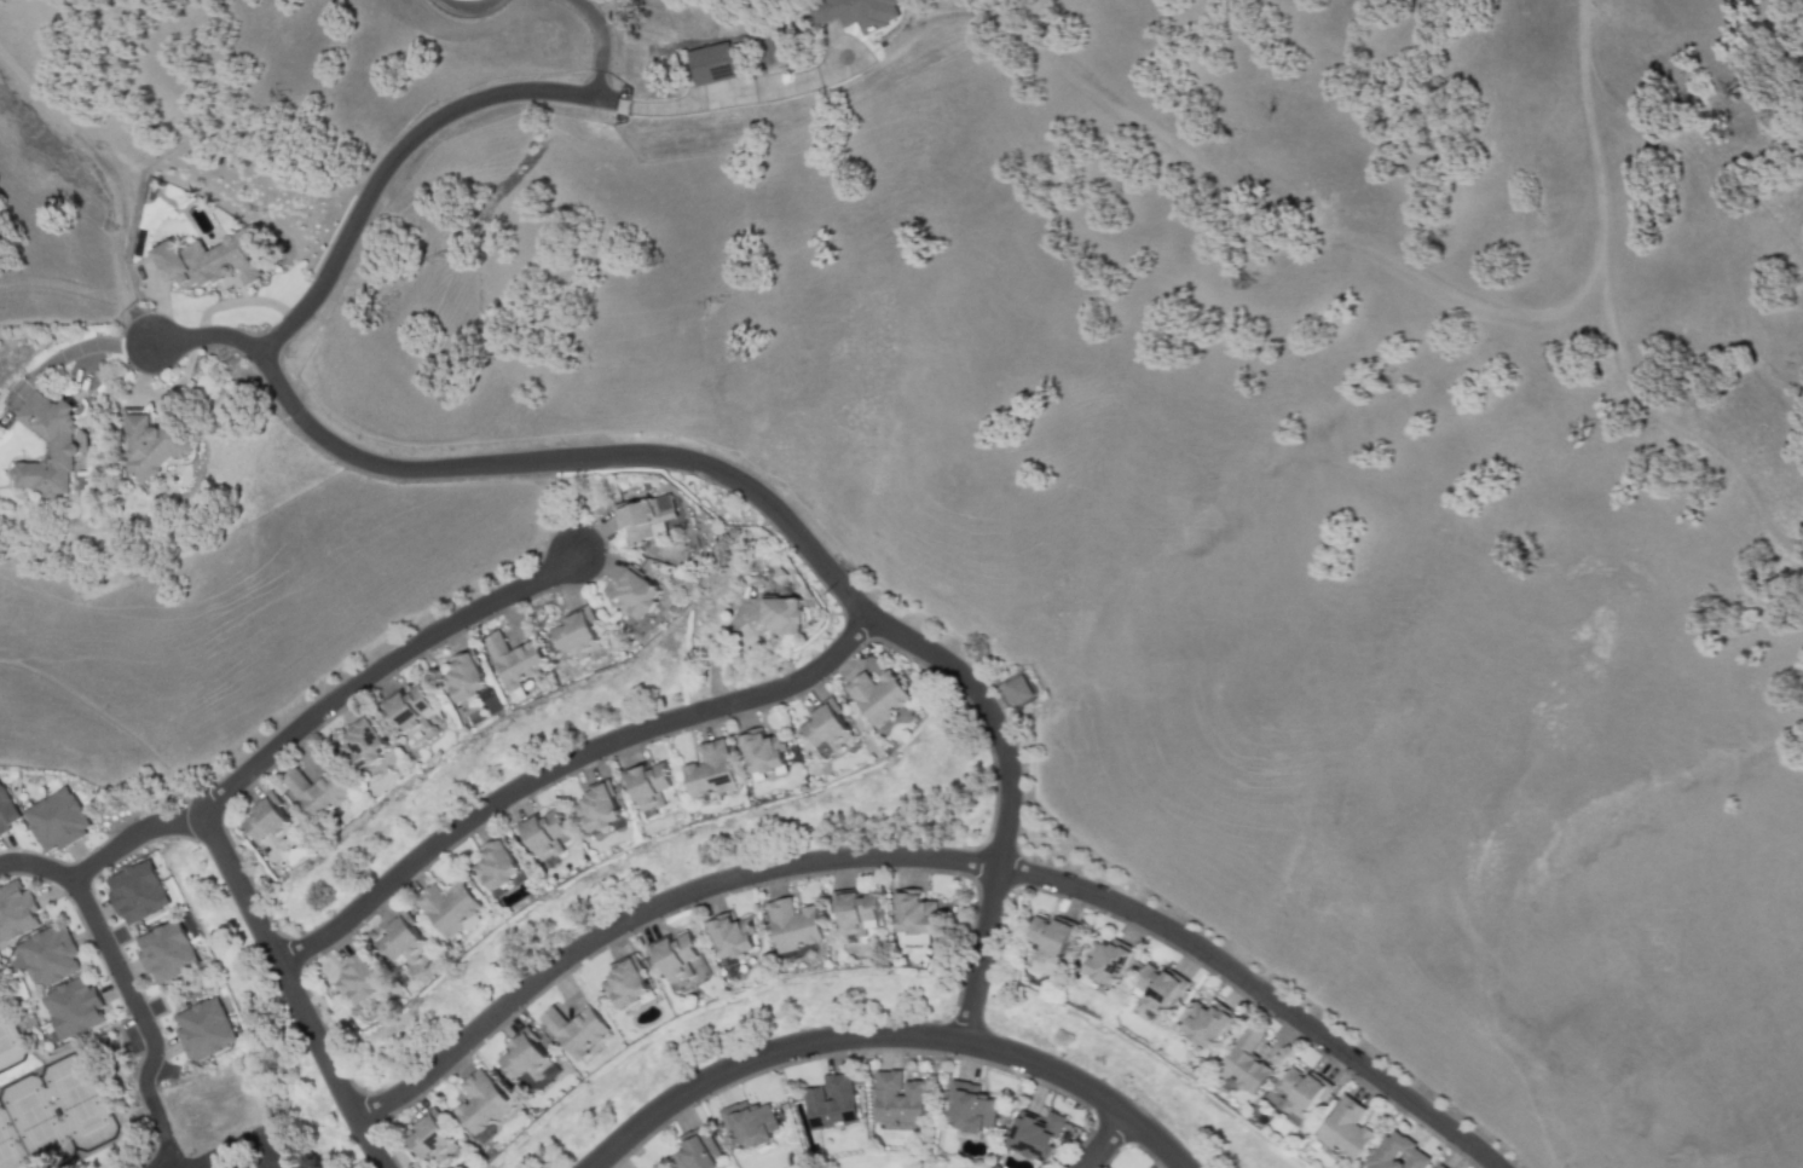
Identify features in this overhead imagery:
road: (466, 5)
building: (853, 12)
road: (601, 42)
building: (711, 63)
road: (807, 82)
road: (386, 162)
building: (209, 259)
road: (1414, 277)
road: (204, 335)
building: (149, 444)
building: (60, 445)
road: (568, 457)
building: (645, 517)
building: (636, 594)
building: (782, 615)
building: (578, 634)
building: (516, 659)
road: (376, 665)
building: (467, 676)
building: (1015, 689)
building: (878, 695)
building: (410, 710)
building: (825, 730)
building: (364, 744)
building: (762, 752)
road: (559, 763)
building: (710, 770)
building: (648, 786)
building: (318, 792)
road: (1006, 797)
building: (596, 809)
building: (6, 813)
building: (56, 820)
building: (271, 821)
road: (162, 822)
building: (545, 834)
road: (932, 856)
road: (96, 858)
building: (498, 865)
building: (137, 891)
building: (449, 906)
building: (16, 910)
building: (856, 913)
building: (913, 917)
building: (792, 924)
building: (730, 935)
building: (401, 939)
building: (1051, 943)
road: (108, 950)
building: (167, 952)
building: (50, 955)
building: (675, 955)
building: (1106, 962)
building: (359, 981)
building: (624, 983)
road: (289, 991)
building: (1154, 993)
building: (75, 1007)
building: (1207, 1023)
building: (204, 1029)
building: (576, 1030)
road: (885, 1033)
park: (8, 1040)
building: (527, 1059)
building: (1246, 1062)
park: (63, 1088)
building: (1300, 1092)
building: (897, 1098)
building: (831, 1100)
building: (481, 1103)
building: (969, 1106)
park: (51, 1115)
building: (749, 1122)
road: (161, 1129)
building: (1345, 1129)
building: (1035, 1134)
building: (430, 1138)
road: (1104, 1139)
road: (266, 1151)
building: (697, 1151)
building: (1397, 1153)
road: (214, 1155)
road: (220, 1161)
park: (872, 1164)

